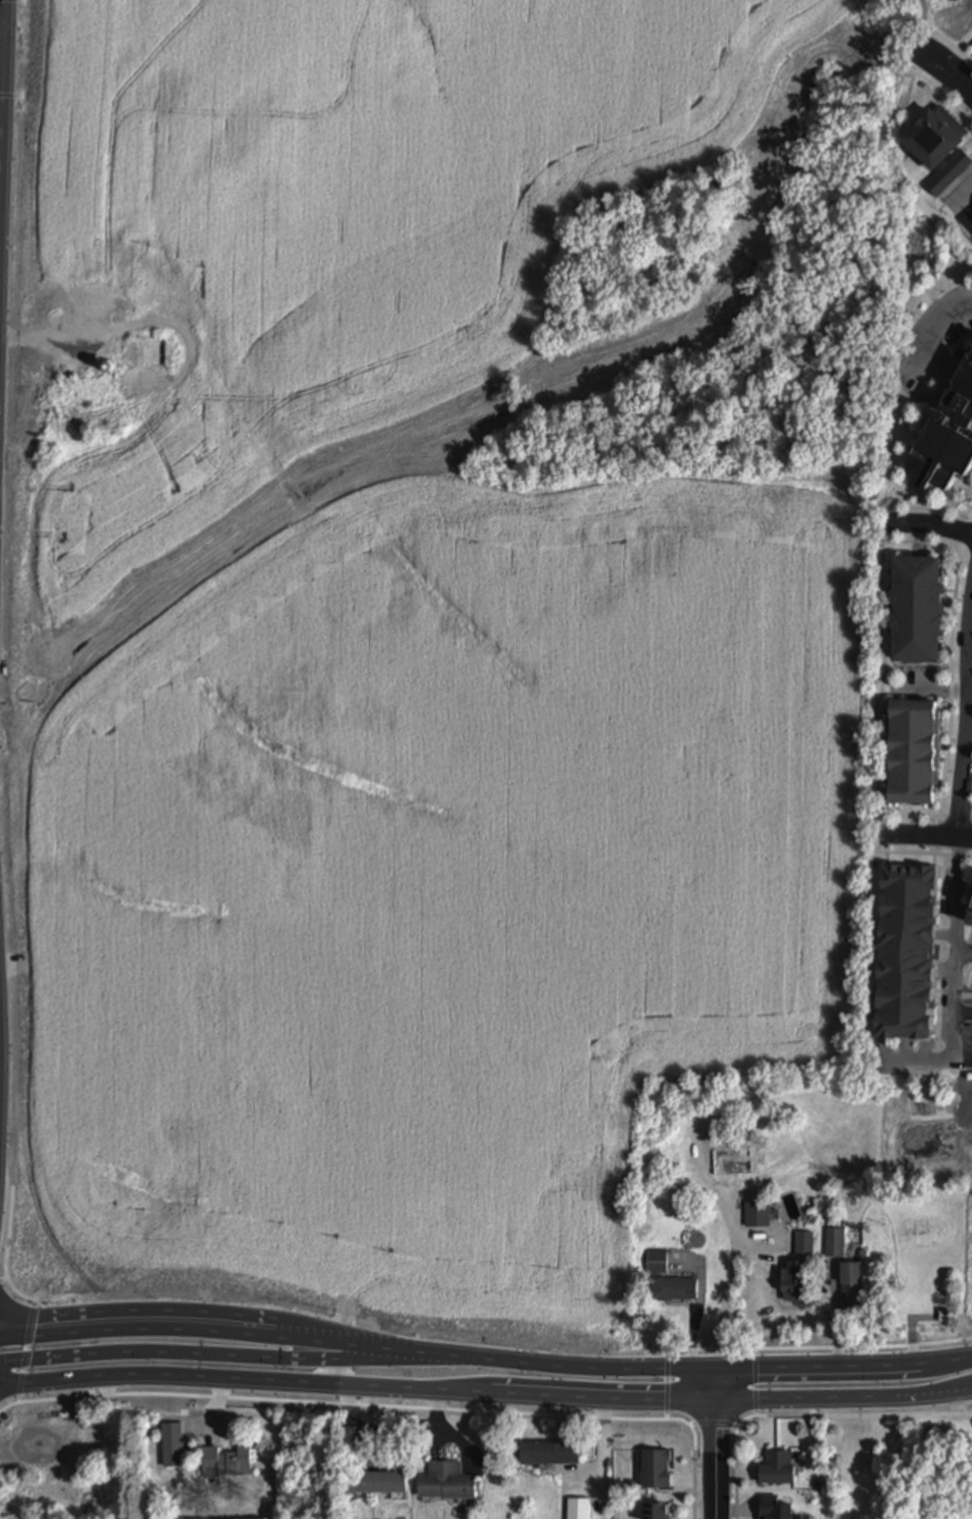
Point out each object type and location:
road: (926, 12)
road: (525, 20)
park: (922, 23)
road: (61, 38)
road: (948, 40)
road: (562, 41)
road: (61, 49)
road: (941, 90)
building: (314, 113)
building: (117, 115)
building: (935, 135)
building: (949, 172)
building: (453, 186)
building: (72, 254)
building: (292, 254)
building: (213, 256)
building: (461, 334)
road: (933, 334)
building: (320, 388)
building: (86, 390)
building: (946, 431)
road: (927, 505)
road: (971, 512)
road: (928, 525)
road: (967, 543)
building: (916, 606)
road: (951, 648)
road: (968, 733)
building: (912, 749)
road: (911, 815)
road: (926, 835)
road: (922, 853)
crop: (456, 881)
building: (968, 911)
road: (956, 948)
building: (902, 950)
road: (964, 953)
road: (933, 1060)
building: (735, 1158)
building: (757, 1209)
building: (834, 1240)
road: (5, 1251)
building: (656, 1258)
building: (793, 1279)
road: (3, 1280)
building: (852, 1282)
building: (673, 1285)
road: (726, 1287)
building: (943, 1313)
road: (694, 1316)
road: (835, 1316)
road: (964, 1327)
road: (24, 1352)
road: (206, 1355)
road: (485, 1359)
road: (275, 1381)
road: (6, 1383)
road: (762, 1399)
road: (390, 1407)
road: (807, 1415)
road: (714, 1424)
building: (59, 1433)
building: (172, 1442)
building: (9, 1444)
road: (716, 1444)
building: (550, 1450)
building: (227, 1459)
building: (774, 1466)
building: (654, 1467)
building: (378, 1478)
building: (446, 1479)
building: (579, 1507)
building: (770, 1507)
building: (658, 1511)
building: (118, 1516)

